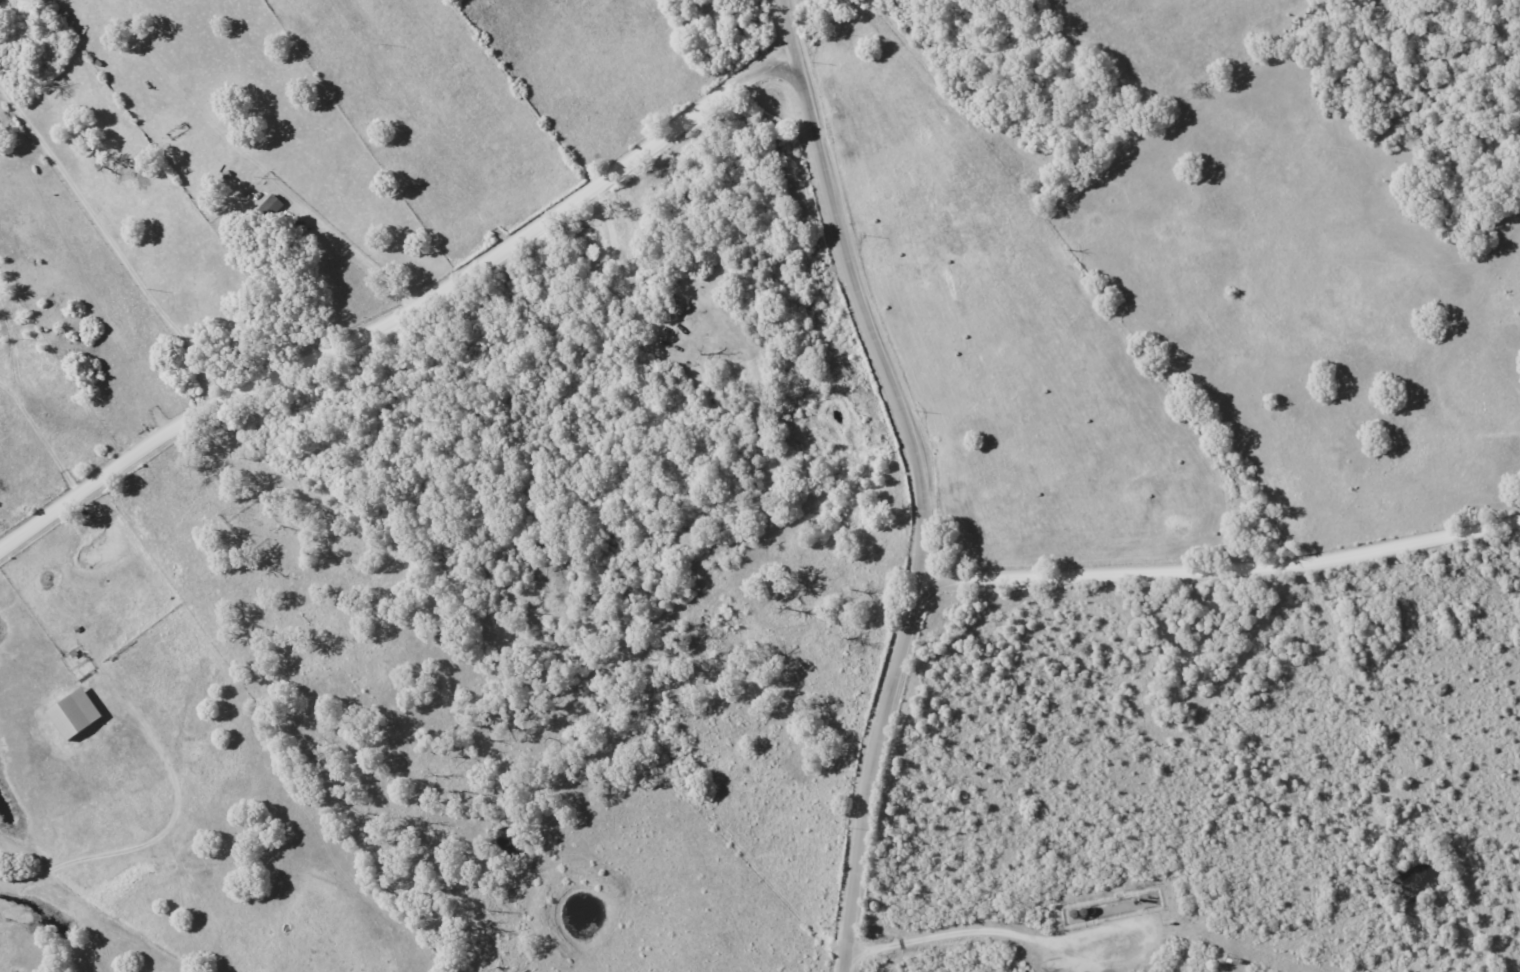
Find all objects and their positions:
road: (84, 275)
road: (404, 313)
road: (926, 479)
road: (1225, 573)
building: (73, 713)

